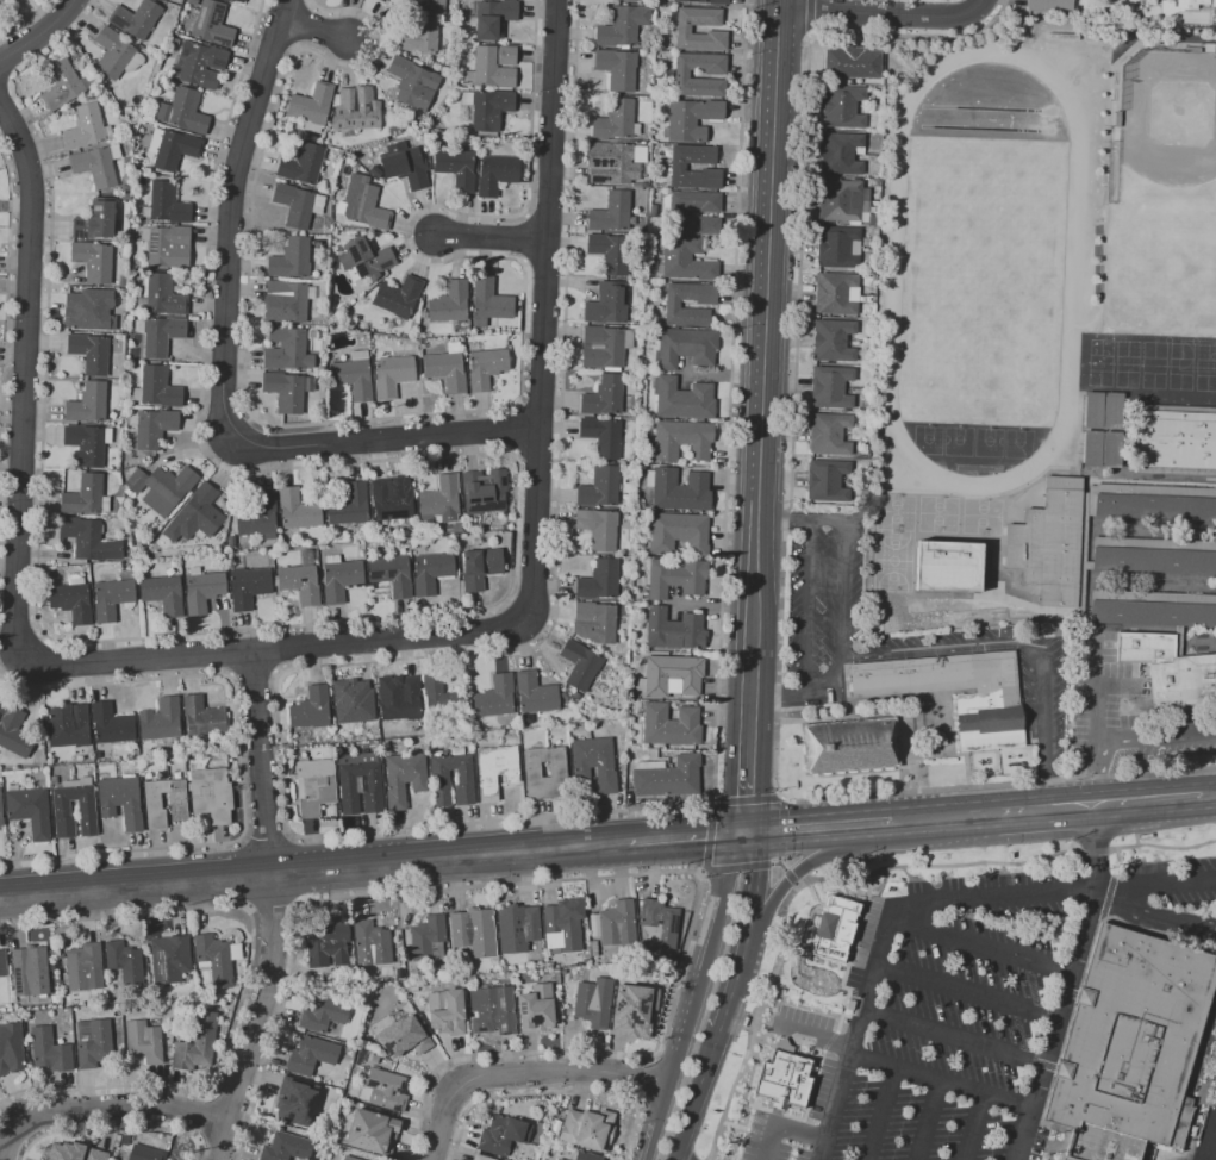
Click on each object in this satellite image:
building: (10, 0)
building: (12, 0)
building: (387, 0)
building: (406, 0)
building: (236, 1)
building: (629, 1)
building: (191, 2)
building: (707, 2)
building: (1193, 5)
building: (1053, 7)
building: (1215, 7)
road: (984, 8)
road: (881, 13)
building: (135, 18)
building: (493, 18)
building: (211, 25)
building: (622, 26)
building: (682, 29)
building: (420, 30)
road: (38, 31)
road: (324, 39)
building: (111, 52)
building: (506, 56)
building: (197, 64)
building: (855, 66)
building: (617, 68)
building: (488, 70)
building: (680, 76)
building: (410, 82)
building: (61, 85)
building: (311, 104)
building: (487, 108)
building: (844, 108)
building: (182, 112)
building: (355, 112)
building: (690, 119)
building: (613, 120)
building: (83, 129)
building: (172, 149)
building: (843, 155)
building: (611, 163)
building: (301, 164)
building: (403, 164)
building: (95, 166)
building: (676, 167)
building: (455, 168)
building: (374, 171)
building: (495, 174)
building: (842, 202)
park: (1162, 202)
building: (167, 204)
building: (363, 204)
building: (297, 205)
building: (610, 213)
building: (674, 214)
road: (242, 218)
building: (94, 222)
road: (487, 238)
road: (771, 243)
building: (168, 247)
building: (840, 249)
building: (609, 252)
building: (289, 258)
building: (364, 258)
building: (92, 261)
building: (685, 261)
park: (983, 268)
building: (121, 281)
building: (120, 293)
building: (163, 295)
building: (838, 295)
building: (397, 297)
building: (289, 299)
building: (449, 303)
building: (488, 303)
building: (606, 304)
building: (671, 306)
road: (540, 307)
building: (88, 310)
building: (158, 335)
building: (836, 342)
building: (604, 347)
building: (685, 348)
building: (286, 349)
building: (89, 353)
building: (485, 367)
building: (445, 370)
building: (392, 375)
road: (23, 378)
building: (351, 378)
building: (156, 388)
building: (834, 388)
building: (286, 391)
building: (603, 395)
building: (684, 399)
building: (87, 404)
building: (1114, 411)
building: (152, 429)
road: (385, 436)
building: (831, 436)
building: (601, 437)
building: (1174, 439)
building: (681, 441)
building: (85, 445)
building: (1091, 449)
building: (1111, 450)
building: (830, 482)
building: (161, 487)
building: (599, 487)
building: (679, 491)
building: (484, 492)
building: (82, 495)
building: (439, 500)
building: (388, 501)
building: (348, 506)
building: (297, 510)
building: (199, 511)
road: (785, 516)
building: (257, 518)
building: (598, 528)
building: (453, 529)
building: (676, 534)
building: (87, 540)
building: (952, 567)
building: (479, 568)
road: (756, 570)
building: (431, 572)
building: (391, 575)
building: (675, 578)
building: (300, 579)
building: (339, 579)
building: (598, 580)
building: (247, 586)
building: (201, 590)
building: (1121, 592)
building: (162, 594)
building: (110, 598)
road: (841, 599)
building: (70, 601)
road: (807, 605)
road: (715, 606)
building: (593, 623)
building: (673, 630)
building: (1067, 631)
road: (1016, 643)
road: (280, 648)
building: (579, 665)
building: (671, 675)
road: (1095, 690)
building: (494, 697)
building: (534, 697)
building: (442, 698)
road: (779, 698)
building: (0, 700)
building: (401, 700)
building: (0, 703)
building: (350, 704)
building: (310, 709)
building: (201, 717)
building: (160, 721)
building: (987, 722)
building: (111, 724)
building: (67, 725)
building: (669, 725)
building: (13, 732)
road: (1154, 741)
road: (750, 743)
building: (849, 746)
road: (261, 761)
building: (593, 762)
building: (494, 771)
building: (556, 771)
road: (1093, 777)
building: (403, 778)
building: (438, 778)
building: (667, 778)
road: (998, 785)
building: (313, 786)
building: (358, 788)
building: (210, 791)
road: (1211, 794)
building: (119, 800)
building: (176, 800)
road: (1150, 800)
road: (746, 802)
building: (86, 807)
building: (29, 810)
road: (992, 813)
building: (0, 816)
road: (500, 821)
road: (818, 827)
road: (779, 828)
traffic signals: (747, 832)
road: (687, 837)
road: (707, 838)
road: (267, 843)
road: (124, 850)
road: (778, 861)
road: (778, 865)
road: (313, 867)
road: (736, 868)
road: (700, 874)
road: (793, 874)
road: (861, 875)
road: (617, 877)
road: (790, 878)
road: (796, 886)
road: (270, 900)
road: (928, 903)
road: (1155, 918)
building: (659, 923)
building: (563, 924)
building: (615, 924)
building: (517, 928)
road: (747, 930)
building: (833, 930)
building: (473, 931)
building: (428, 938)
building: (326, 944)
building: (372, 944)
road: (984, 947)
building: (593, 948)
building: (169, 959)
building: (213, 960)
building: (124, 961)
building: (2, 963)
building: (85, 967)
building: (30, 972)
road: (1072, 984)
building: (0, 986)
road: (244, 986)
building: (413, 987)
road: (969, 993)
road: (692, 994)
building: (593, 1003)
building: (631, 1008)
building: (535, 1009)
building: (492, 1010)
building: (447, 1011)
building: (325, 1014)
road: (255, 1017)
parking lot: (961, 1022)
road: (816, 1034)
building: (404, 1036)
road: (956, 1039)
building: (1133, 1039)
building: (144, 1041)
building: (95, 1044)
building: (197, 1044)
building: (10, 1048)
building: (50, 1052)
building: (311, 1055)
road: (710, 1056)
building: (373, 1059)
road: (523, 1077)
building: (781, 1077)
road: (642, 1081)
road: (942, 1081)
building: (383, 1090)
road: (554, 1093)
building: (295, 1100)
road: (230, 1103)
road: (99, 1108)
road: (883, 1114)
road: (202, 1117)
road: (929, 1121)
road: (686, 1122)
road: (781, 1125)
road: (977, 1127)
road: (114, 1128)
building: (588, 1129)
building: (372, 1133)
building: (503, 1134)
road: (218, 1145)
building: (1100, 1145)
building: (285, 1147)
building: (74, 1153)
building: (144, 1153)
building: (248, 1154)
building: (586, 1156)
building: (348, 1158)
building: (481, 1158)
building: (556, 1159)
building: (557, 1159)

